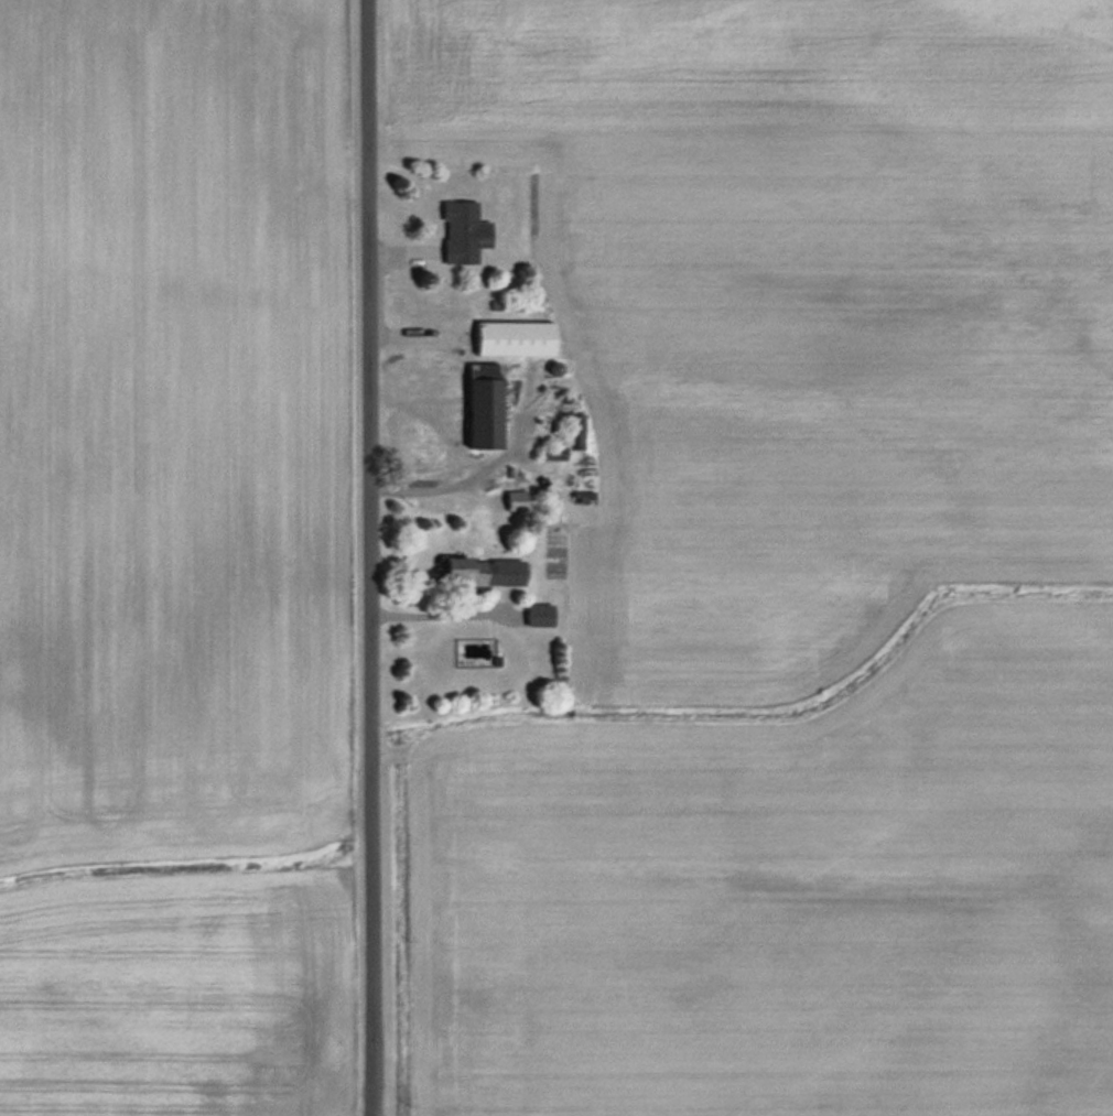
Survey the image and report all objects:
building: (462, 231)
building: (512, 337)
building: (483, 407)
building: (514, 499)
road: (367, 557)
building: (483, 570)
building: (538, 614)

